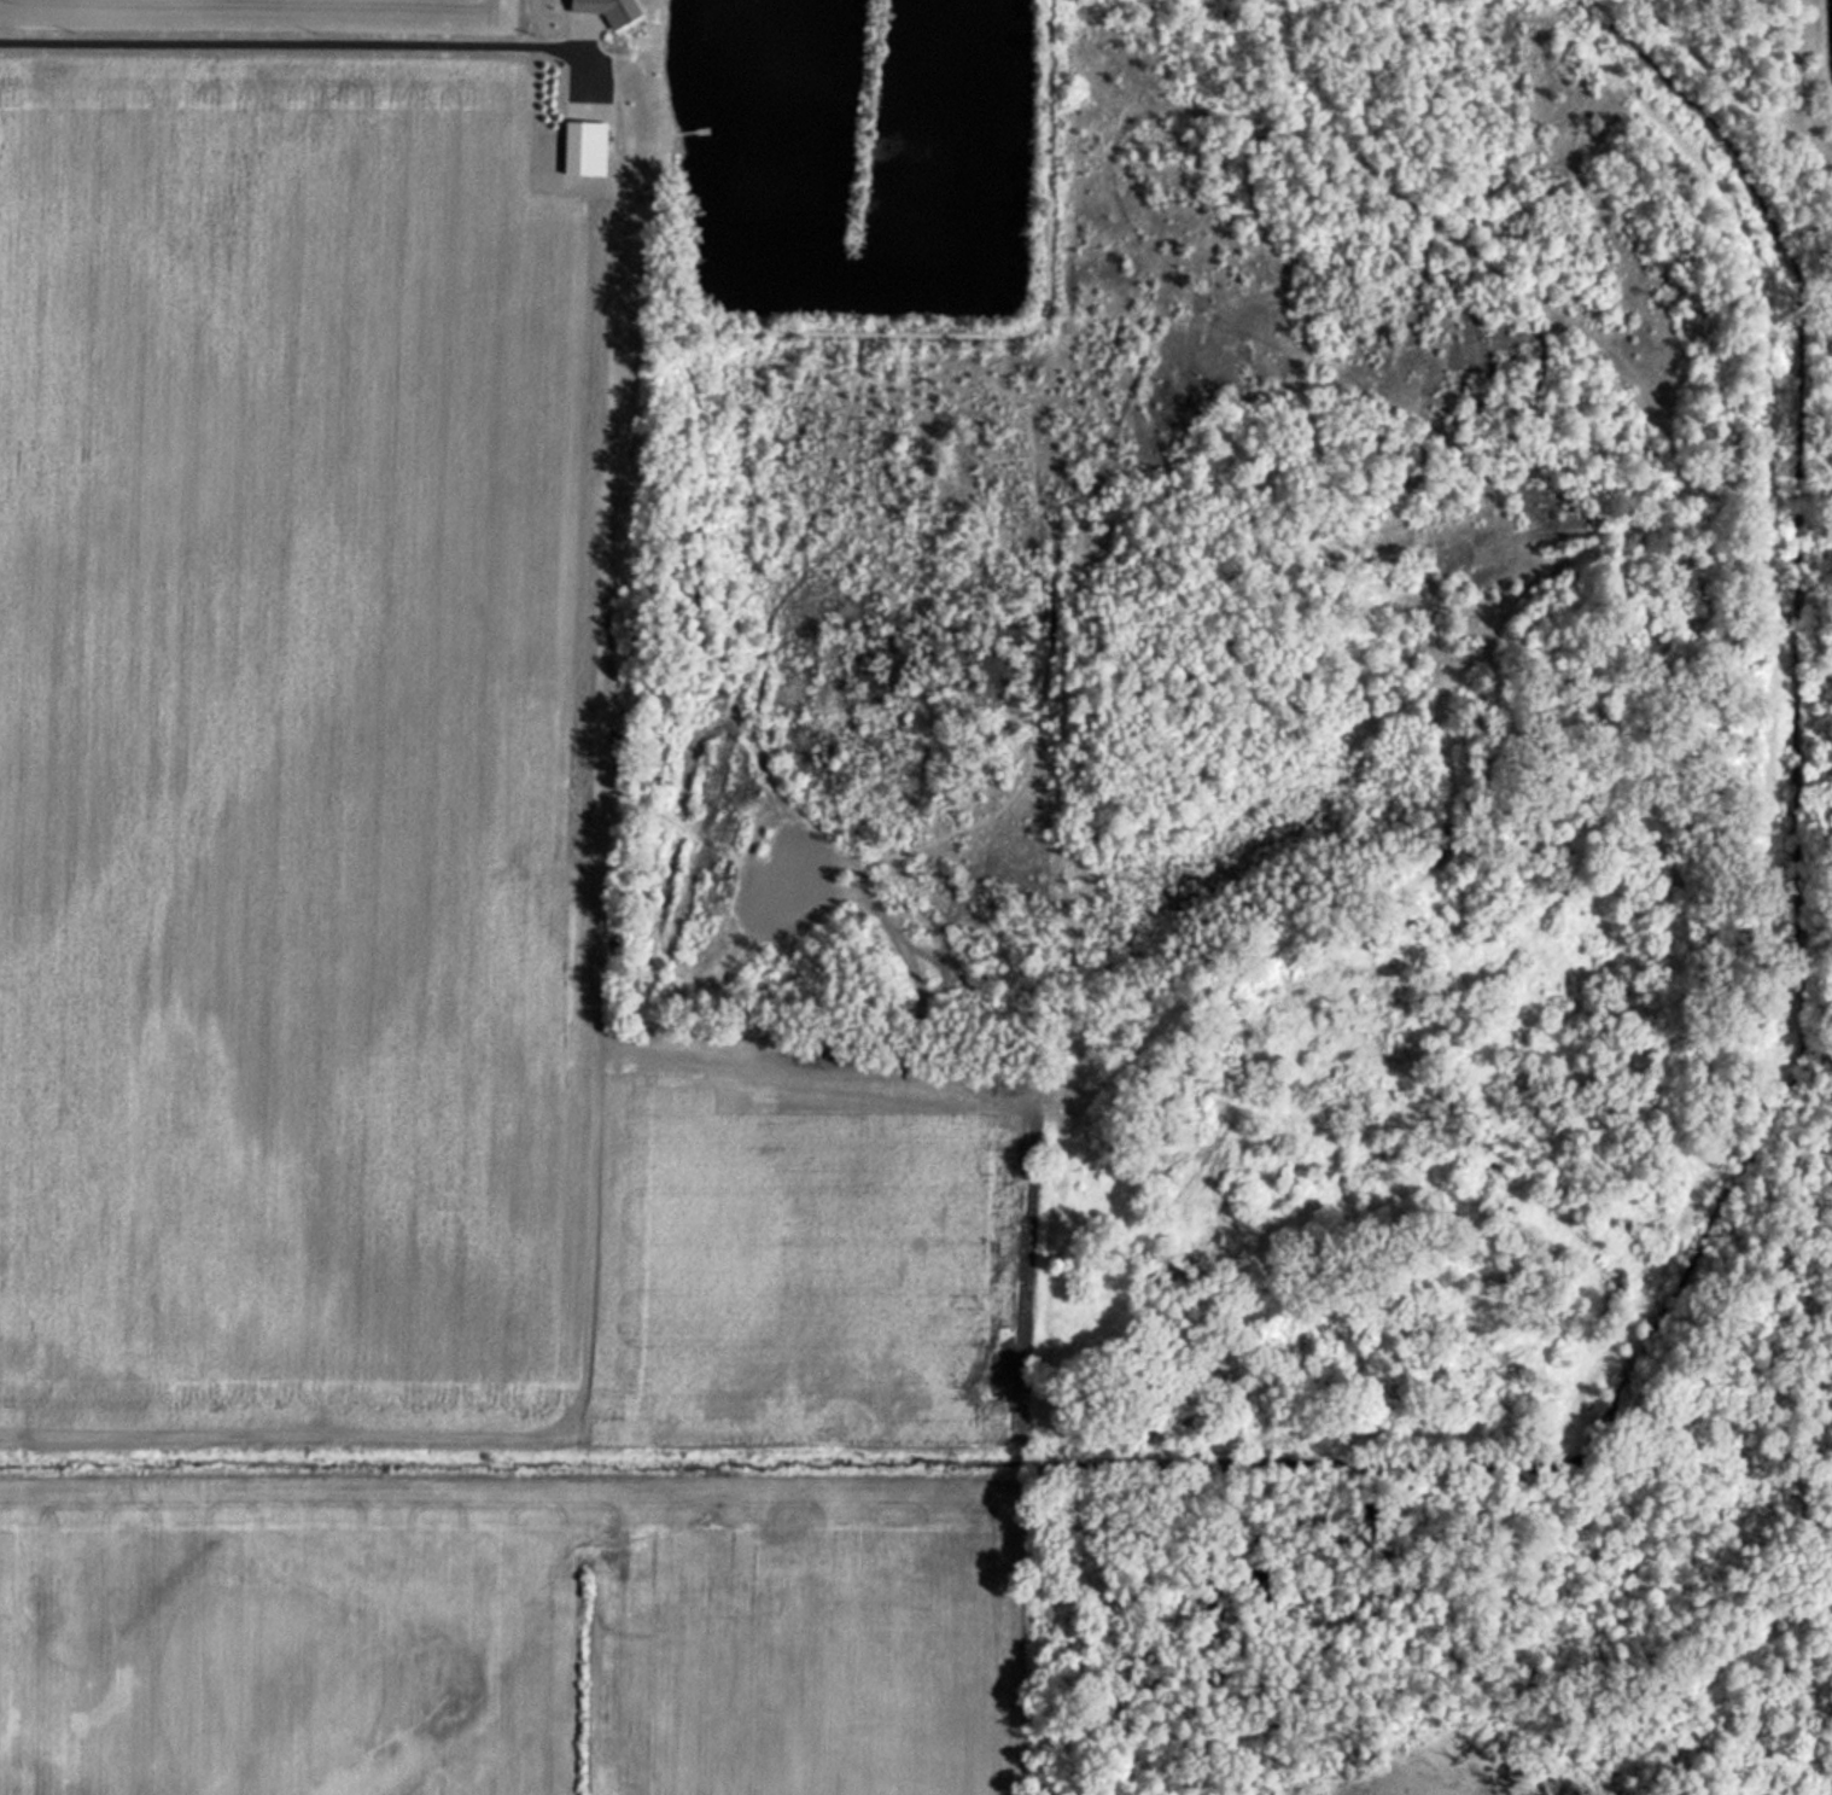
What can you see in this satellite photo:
road: (287, 51)
road: (1814, 74)

